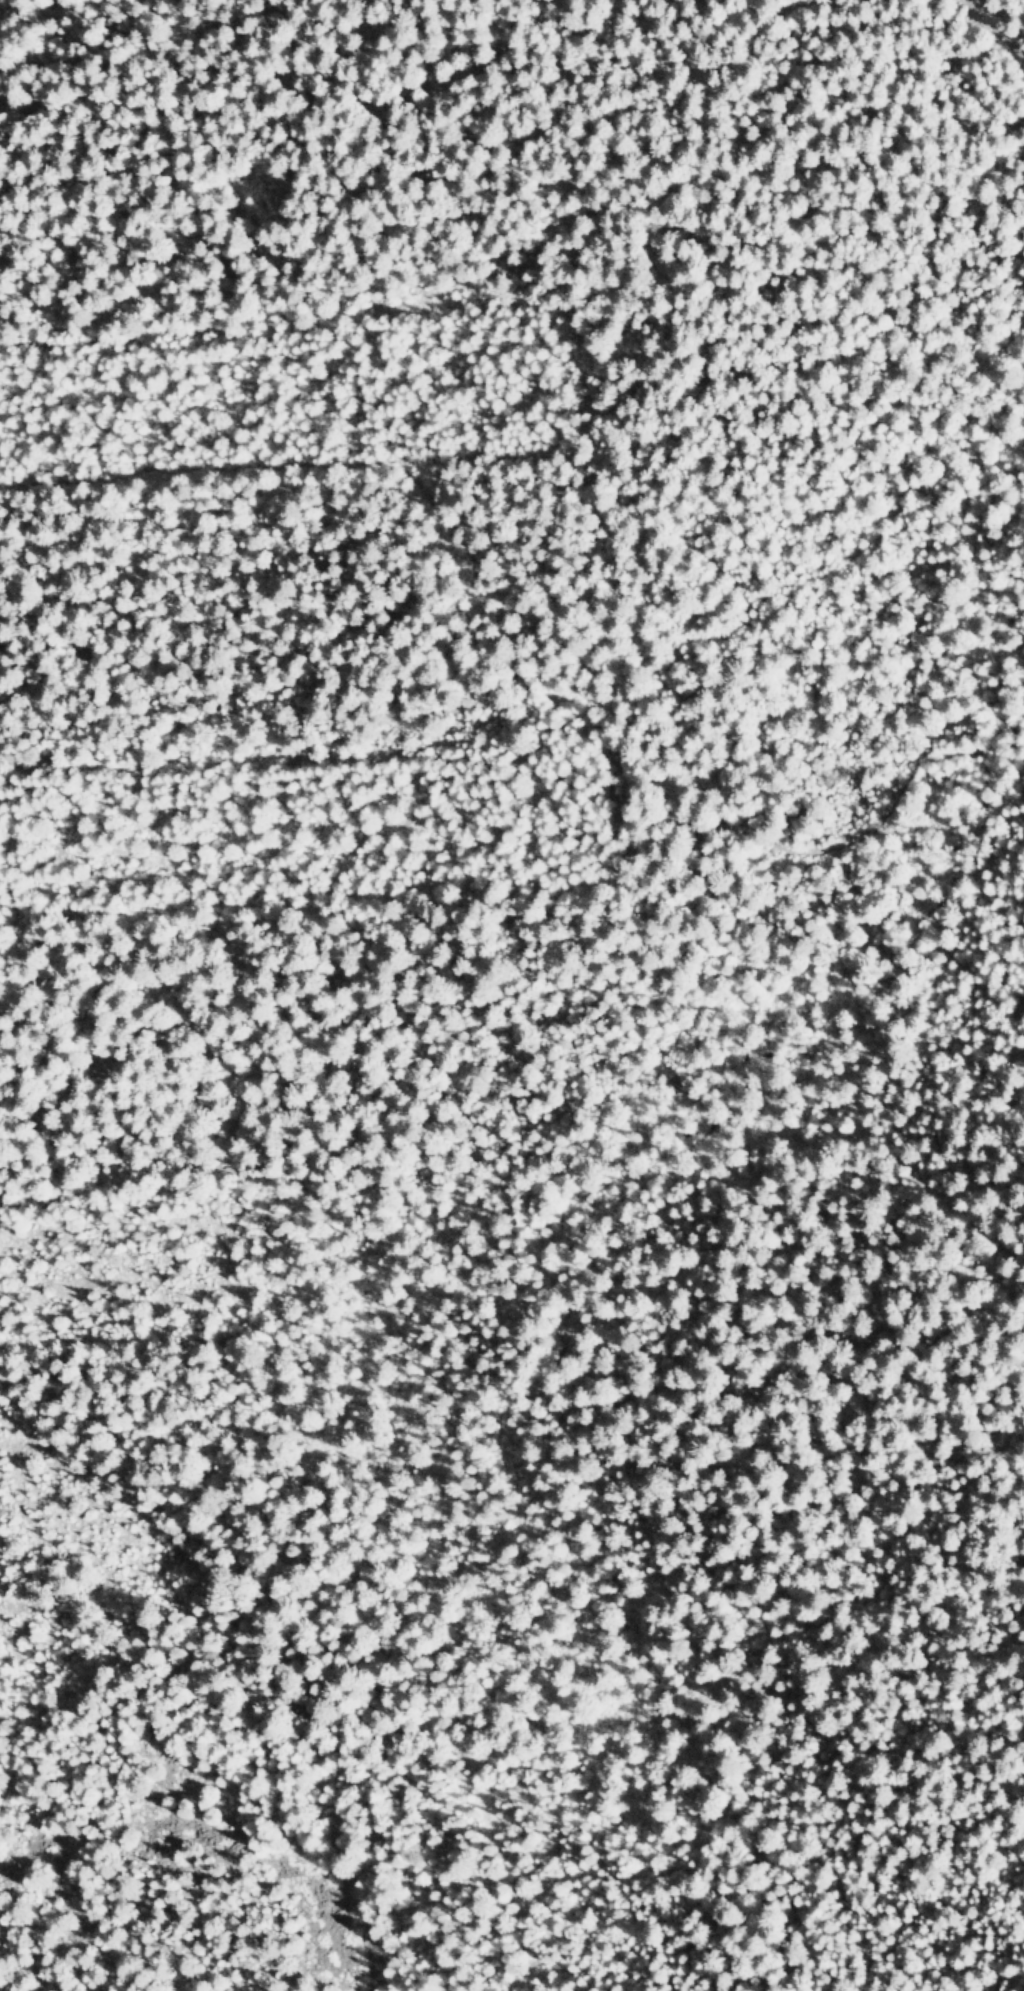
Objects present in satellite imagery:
road: (1005, 1261)

